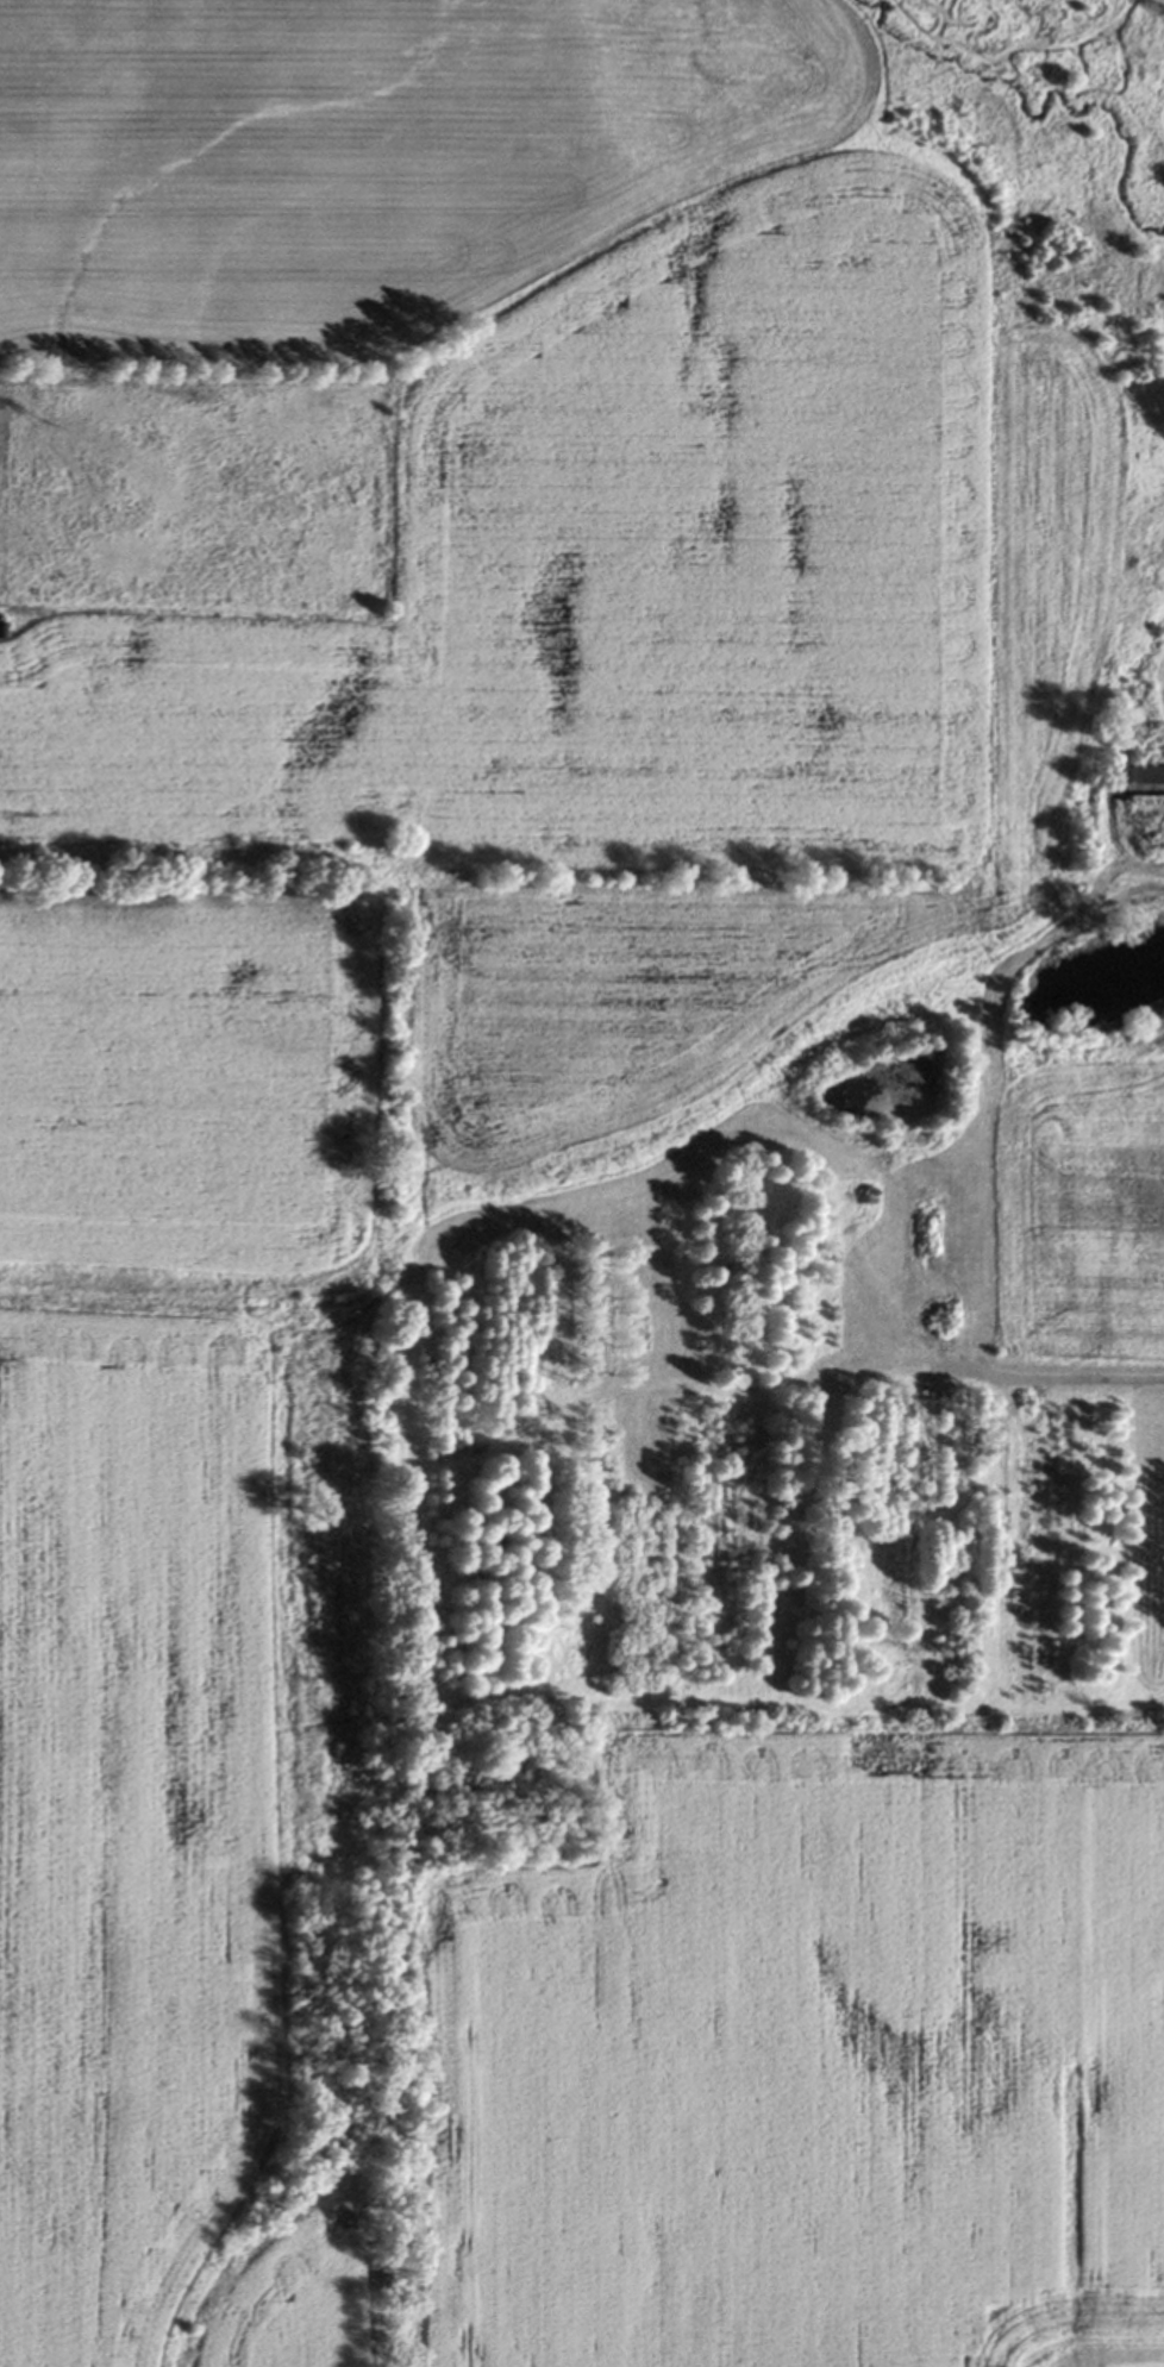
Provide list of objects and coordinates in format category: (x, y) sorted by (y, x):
building: (2, 418)
building: (0, 632)
building: (1145, 778)

